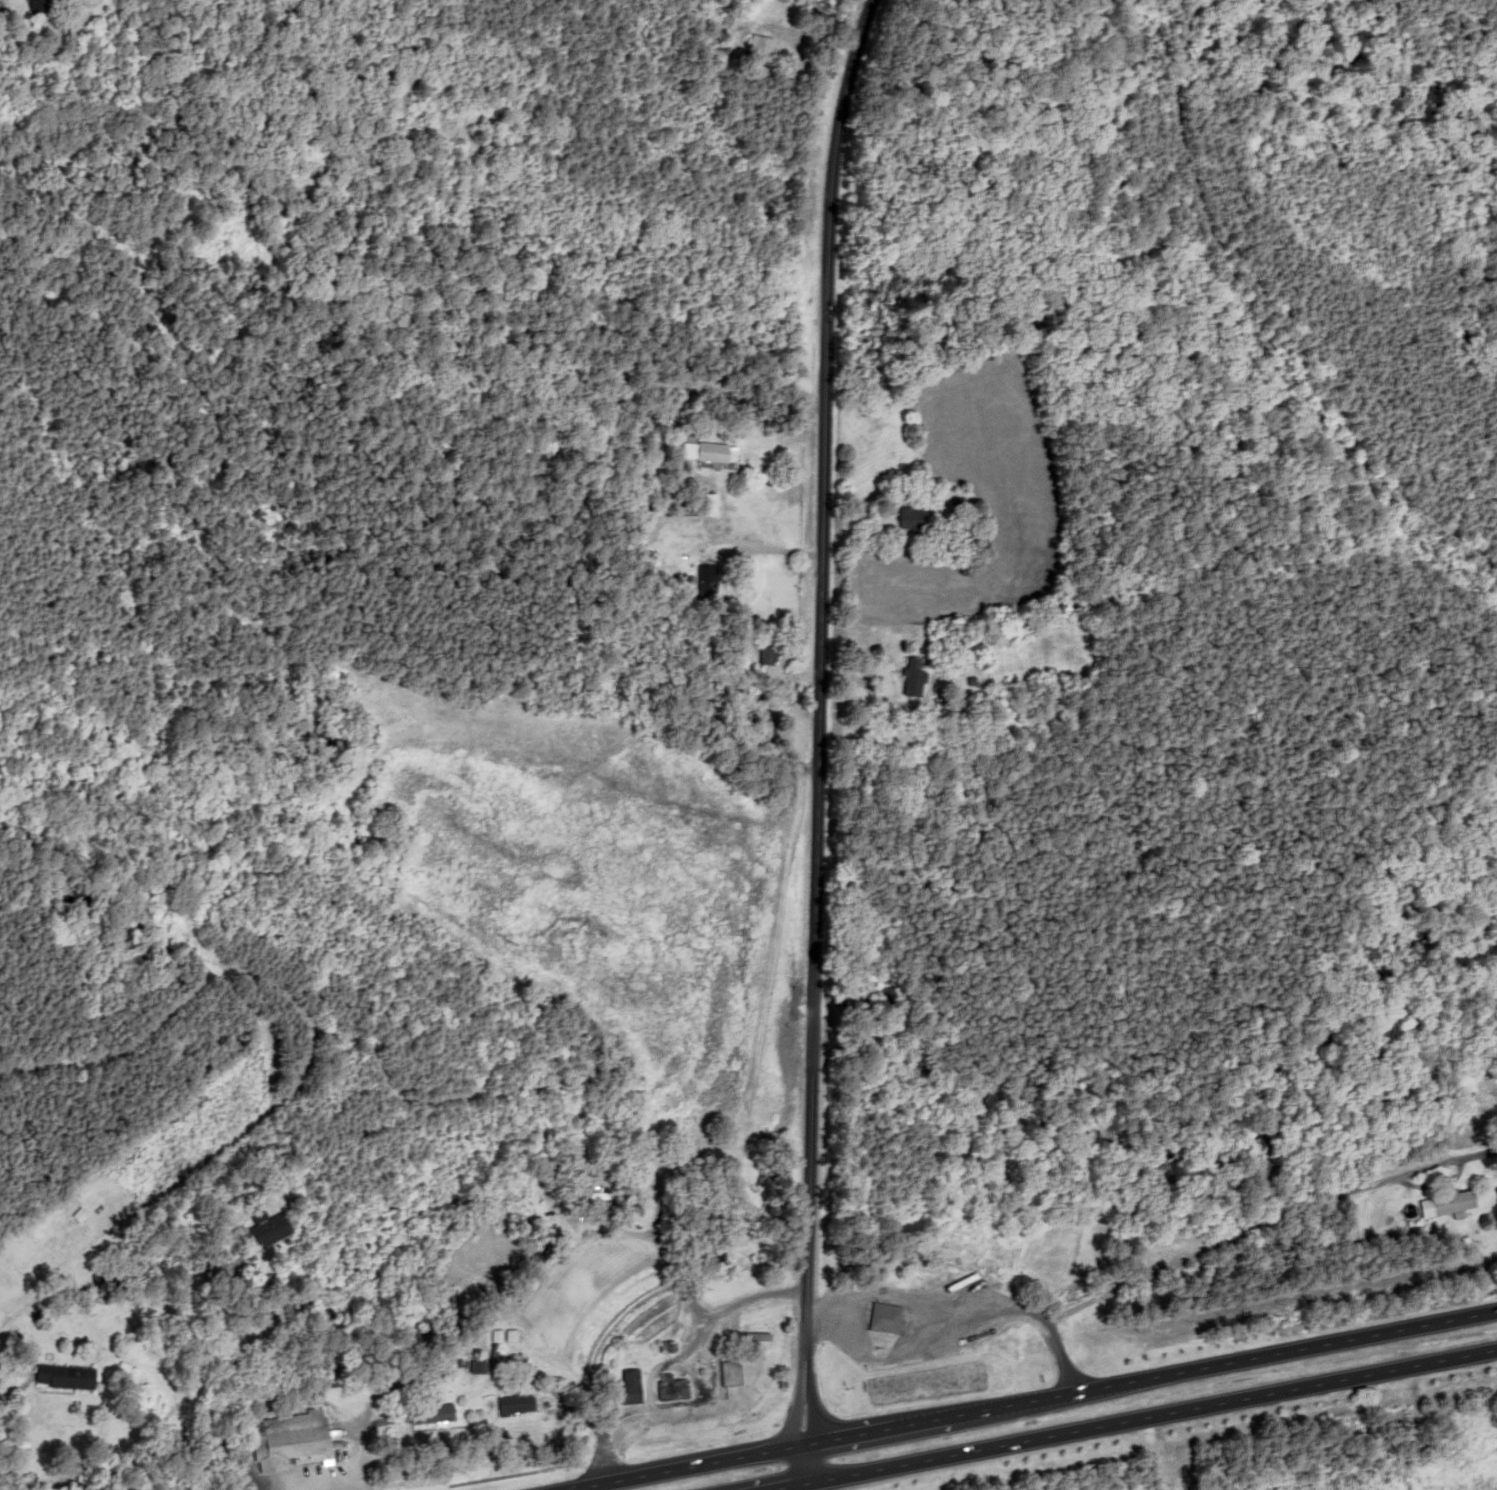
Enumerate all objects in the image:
road: (881, 4)
building: (36, 6)
building: (757, 47)
building: (711, 453)
building: (710, 505)
building: (916, 519)
building: (706, 584)
building: (768, 655)
building: (914, 678)
road: (820, 681)
building: (1452, 1203)
building: (266, 1231)
building: (885, 1319)
building: (756, 1343)
road: (1228, 1362)
building: (728, 1374)
building: (63, 1378)
building: (630, 1387)
building: (672, 1389)
building: (432, 1414)
road: (1149, 1416)
road: (795, 1427)
road: (812, 1427)
road: (886, 1429)
building: (293, 1442)
road: (803, 1445)
road: (682, 1468)
road: (786, 1487)

